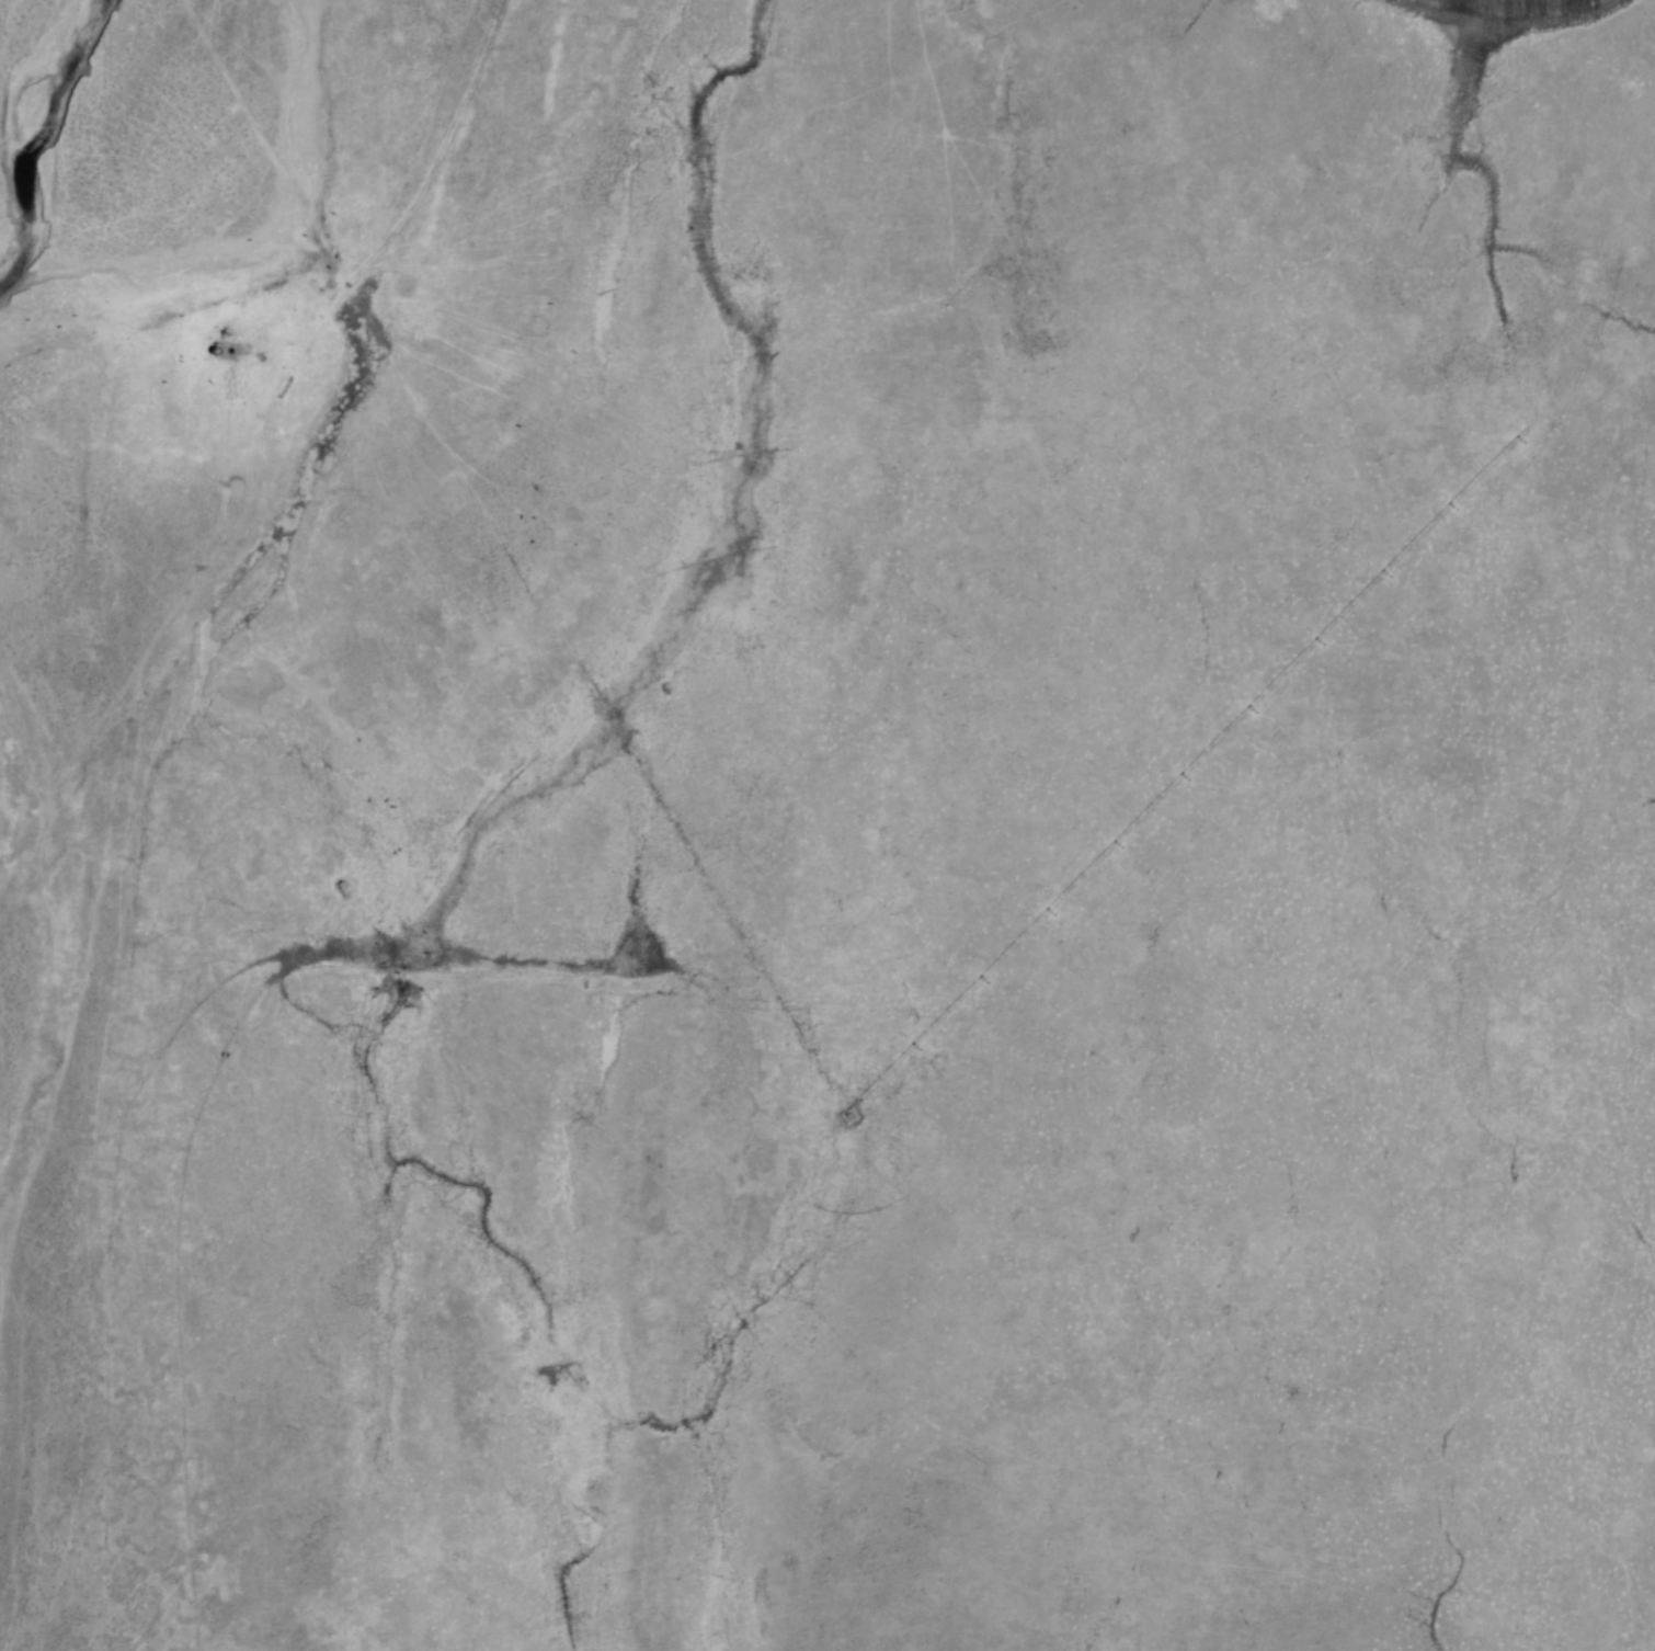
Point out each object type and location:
road: (434, 166)

